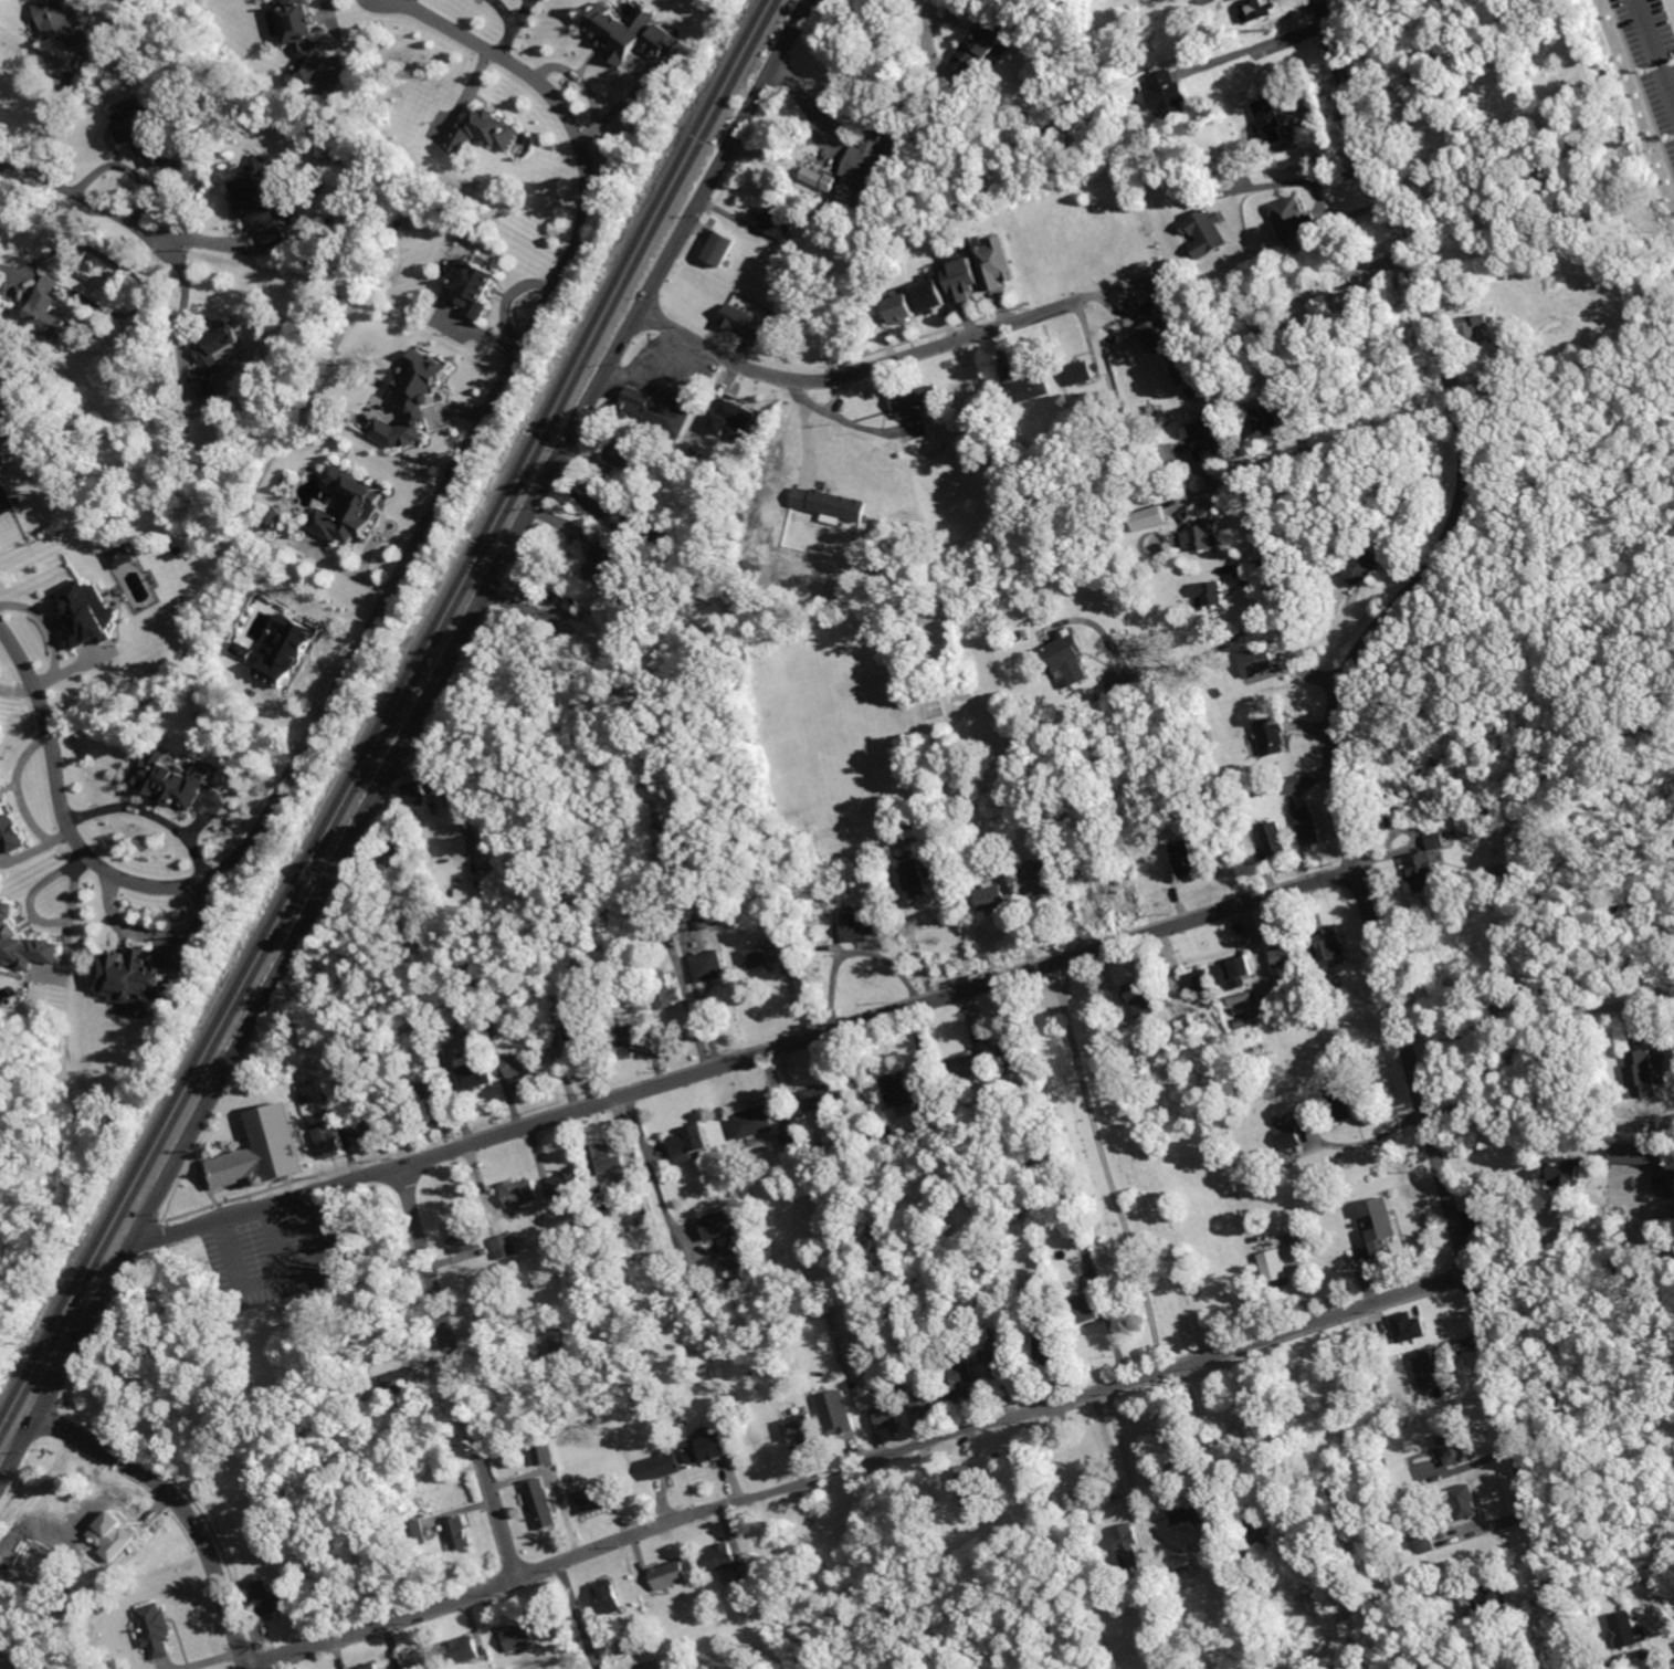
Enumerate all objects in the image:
building: (1218, 0)
building: (1207, 1)
road: (939, 6)
building: (1259, 9)
building: (64, 22)
road: (510, 25)
building: (632, 34)
building: (302, 36)
road: (31, 43)
building: (982, 44)
road: (1657, 44)
road: (1255, 46)
building: (1285, 61)
building: (1261, 74)
building: (1118, 91)
building: (1169, 94)
building: (1270, 120)
building: (485, 133)
road: (814, 134)
building: (154, 135)
road: (2, 153)
building: (868, 158)
building: (822, 180)
road: (1302, 180)
building: (1196, 189)
road: (84, 195)
building: (12, 207)
building: (261, 208)
building: (850, 212)
building: (1293, 218)
building: (780, 223)
building: (1208, 233)
building: (723, 249)
building: (997, 264)
road: (7, 267)
road: (1367, 273)
building: (91, 275)
building: (962, 280)
building: (474, 286)
building: (1280, 288)
building: (931, 292)
building: (53, 308)
building: (903, 308)
road: (185, 319)
building: (745, 322)
building: (1472, 328)
building: (1160, 333)
building: (1307, 356)
building: (217, 363)
building: (1287, 364)
road: (867, 369)
building: (1082, 371)
building: (1187, 371)
building: (1028, 389)
building: (412, 399)
building: (916, 399)
building: (657, 412)
building: (1266, 417)
building: (734, 421)
building: (1161, 424)
building: (1210, 432)
building: (1171, 450)
building: (627, 453)
building: (1178, 468)
building: (731, 472)
building: (924, 492)
building: (831, 503)
building: (350, 508)
building: (1155, 514)
building: (275, 518)
building: (632, 523)
building: (1203, 535)
building: (678, 542)
building: (122, 555)
building: (602, 559)
building: (1362, 567)
building: (543, 589)
road: (388, 592)
building: (1212, 592)
road: (1285, 595)
building: (87, 612)
road: (53, 633)
building: (1025, 633)
building: (1014, 639)
building: (285, 649)
building: (250, 652)
road: (1204, 652)
building: (1263, 658)
building: (1070, 659)
building: (1235, 686)
road: (20, 691)
railway: (388, 714)
railway: (393, 723)
building: (1273, 736)
road: (406, 744)
building: (1039, 768)
building: (1039, 777)
building: (171, 781)
building: (1296, 783)
road: (20, 791)
building: (418, 791)
building: (1483, 797)
building: (956, 807)
road: (155, 815)
road: (1346, 816)
building: (10, 821)
building: (1043, 821)
building: (889, 822)
building: (1308, 825)
building: (1159, 826)
building: (1275, 838)
building: (1438, 841)
building: (393, 852)
building: (1186, 857)
building: (1426, 871)
building: (918, 878)
building: (1038, 878)
building: (841, 881)
building: (993, 895)
building: (707, 901)
building: (662, 919)
building: (705, 923)
building: (860, 924)
road: (150, 936)
building: (1504, 938)
building: (23, 944)
building: (1330, 944)
building: (1285, 953)
building: (768, 954)
building: (709, 964)
building: (1236, 970)
building: (131, 979)
building: (1200, 979)
building: (667, 989)
building: (1140, 996)
building: (1548, 1000)
road: (880, 1017)
building: (1189, 1025)
building: (582, 1027)
building: (493, 1028)
building: (630, 1037)
road: (1523, 1048)
building: (1012, 1054)
building: (1133, 1057)
building: (514, 1064)
building: (965, 1064)
building: (476, 1074)
building: (1644, 1074)
building: (358, 1080)
building: (326, 1084)
building: (827, 1094)
building: (906, 1094)
building: (308, 1098)
building: (1341, 1102)
building: (433, 1104)
building: (946, 1108)
building: (755, 1120)
building: (365, 1129)
building: (1289, 1130)
building: (882, 1135)
building: (329, 1138)
building: (793, 1143)
building: (689, 1144)
building: (1640, 1155)
building: (608, 1157)
building: (239, 1165)
road: (1113, 1165)
building: (1566, 1172)
building: (1665, 1180)
building: (568, 1184)
park: (1124, 1184)
building: (522, 1193)
road: (271, 1203)
road: (1548, 1217)
building: (1382, 1224)
building: (719, 1226)
building: (1083, 1235)
building: (464, 1236)
building: (507, 1246)
building: (487, 1251)
building: (665, 1251)
building: (1274, 1266)
building: (1087, 1308)
building: (1410, 1325)
building: (1047, 1346)
building: (1004, 1361)
road: (460, 1369)
road: (1166, 1369)
building: (1430, 1374)
building: (403, 1379)
building: (959, 1379)
building: (929, 1397)
building: (841, 1415)
building: (887, 1417)
building: (678, 1429)
building: (802, 1430)
building: (1453, 1447)
building: (709, 1449)
road: (1110, 1449)
building: (545, 1456)
building: (1385, 1461)
building: (668, 1466)
road: (841, 1469)
building: (573, 1479)
road: (1135, 1482)
building: (970, 1486)
building: (601, 1497)
building: (1466, 1500)
building: (544, 1504)
road: (186, 1508)
building: (1189, 1512)
building: (1255, 1530)
building: (419, 1532)
building: (461, 1532)
building: (1222, 1542)
building: (1424, 1542)
building: (1129, 1546)
building: (722, 1556)
road: (535, 1571)
building: (671, 1574)
building: (1115, 1576)
building: (295, 1577)
building: (270, 1597)
building: (1486, 1597)
building: (610, 1598)
building: (1162, 1614)
road: (580, 1615)
building: (1625, 1628)
building: (156, 1629)
building: (646, 1631)
building: (520, 1637)
building: (1359, 1640)
building: (632, 1642)
building: (464, 1650)
building: (419, 1660)
building: (1440, 1662)
building: (31, 1665)
building: (372, 1666)
building: (15, 1668)
building: (1512, 1668)

